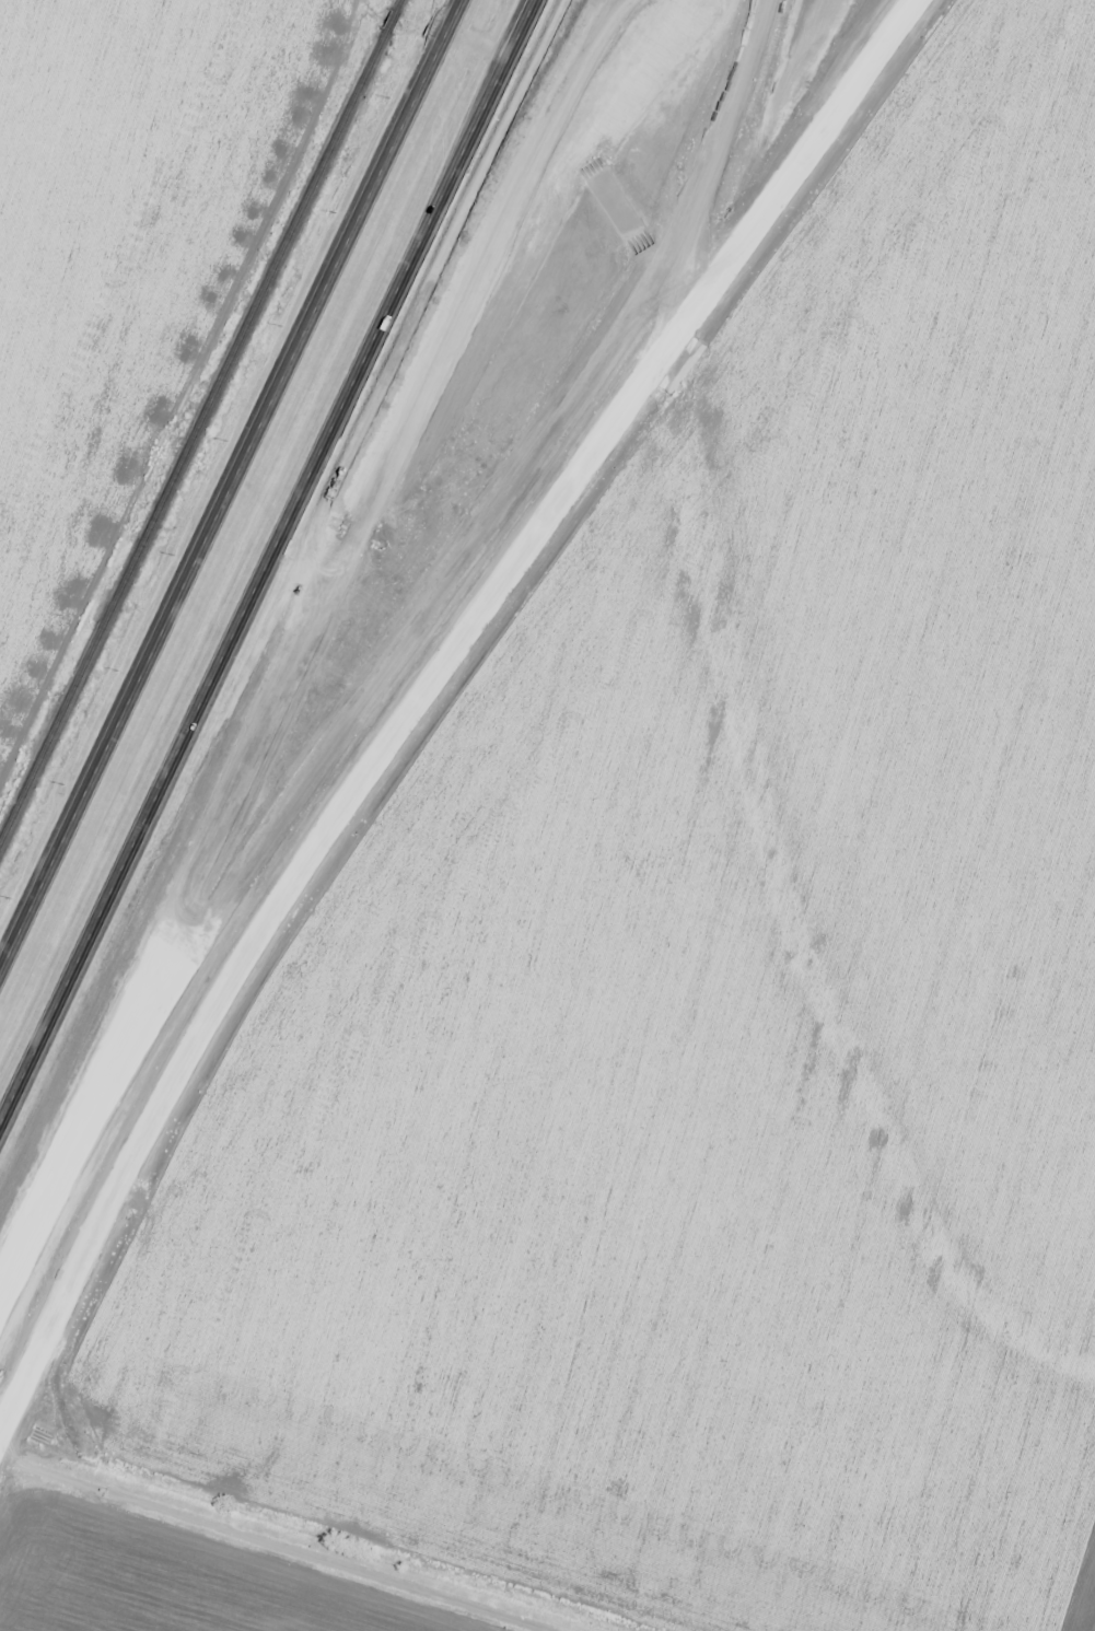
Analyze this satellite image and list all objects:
road: (531, 8)
road: (514, 39)
railway: (198, 416)
road: (235, 489)
road: (247, 602)
road: (305, 637)
road: (396, 652)
road: (421, 689)
road: (252, 1545)

